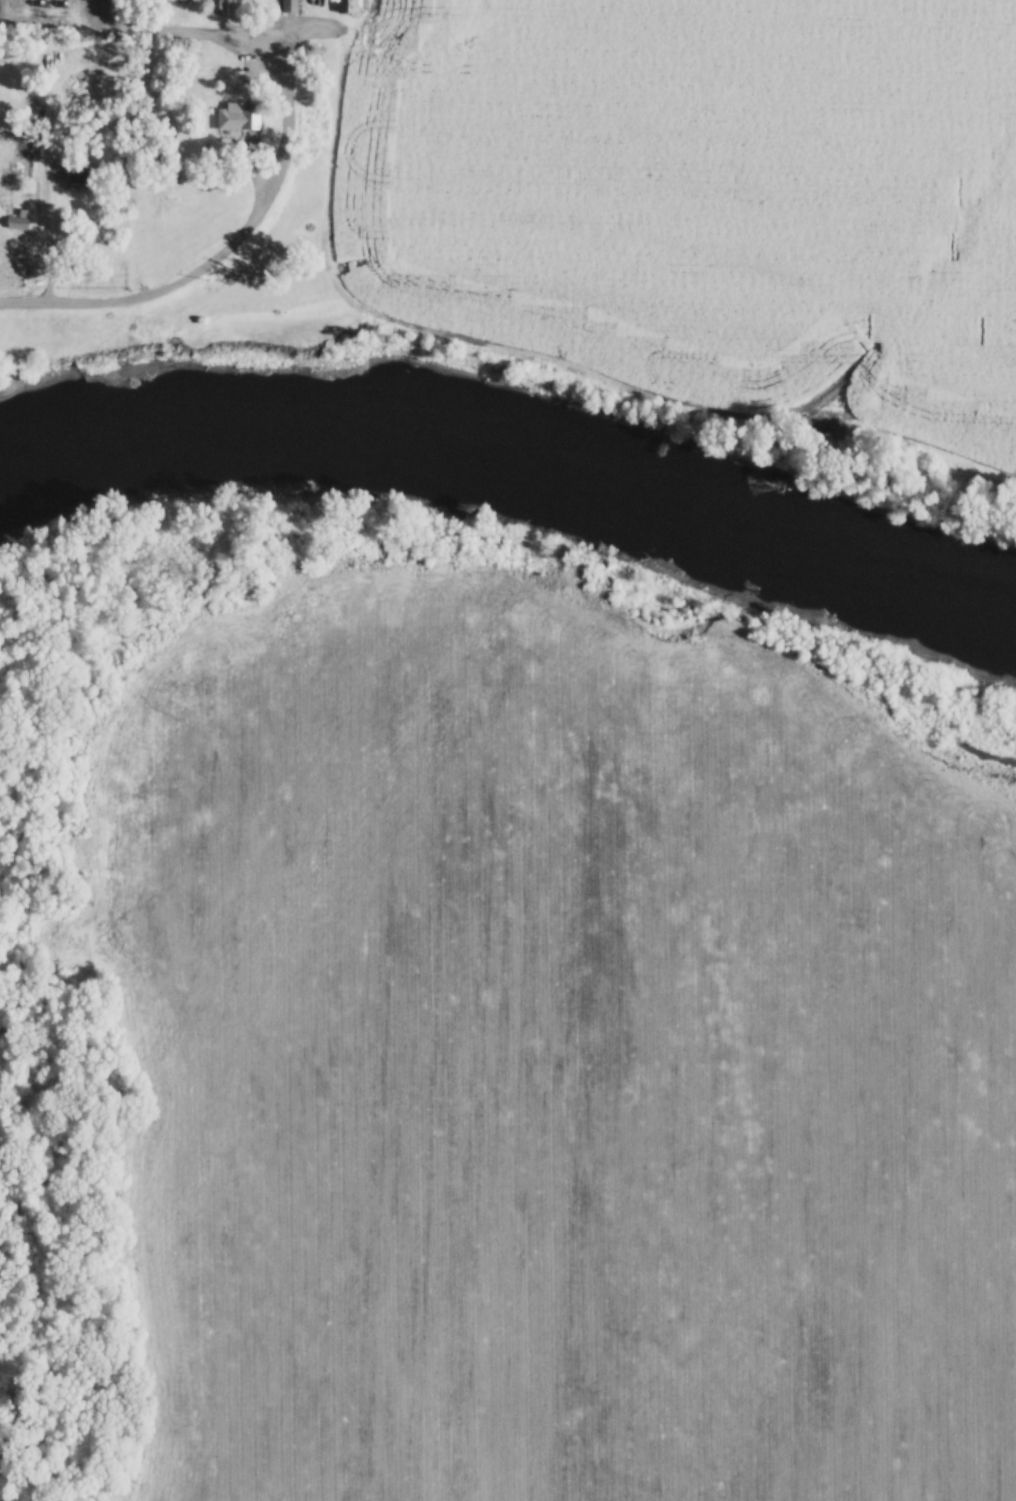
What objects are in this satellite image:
road: (215, 36)
road: (43, 230)
road: (185, 275)
river: (515, 463)

